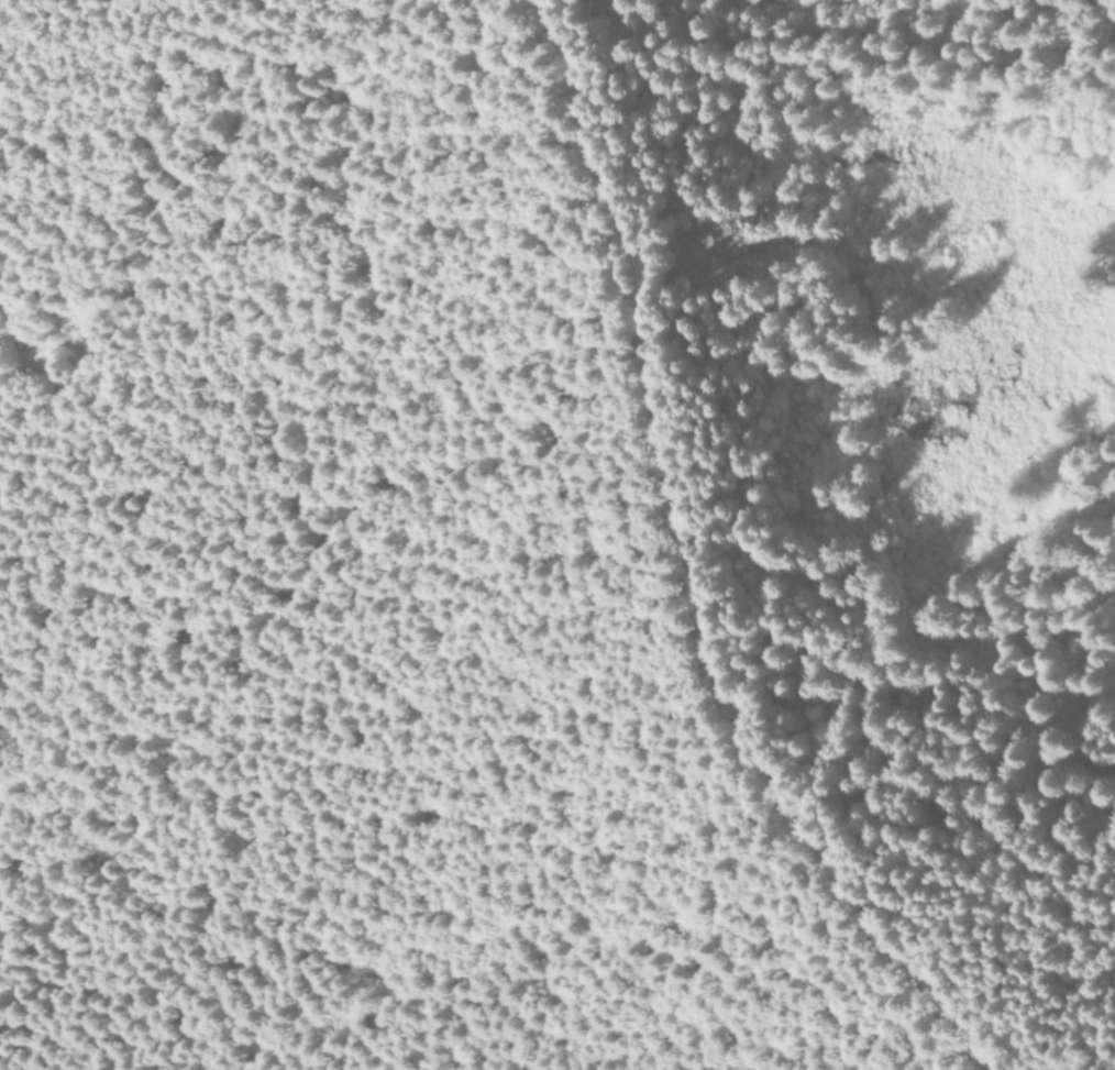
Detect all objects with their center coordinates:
road: (671, 583)

